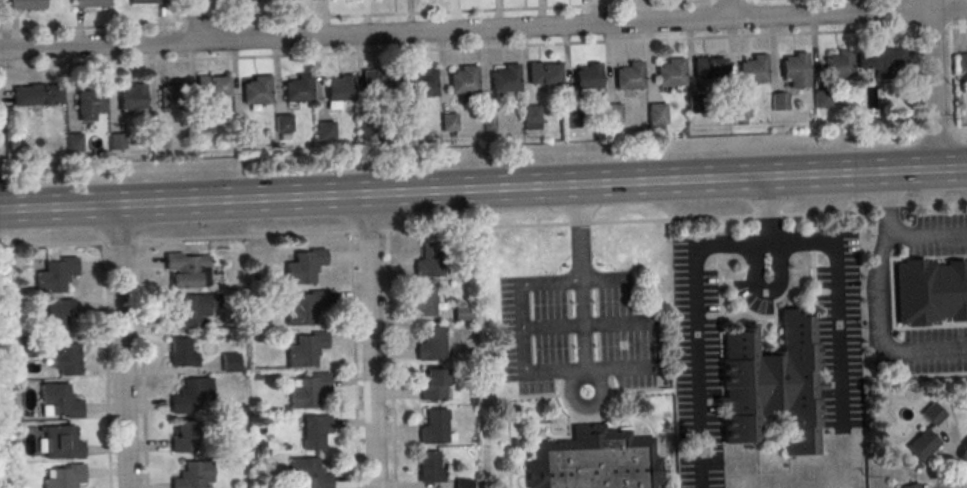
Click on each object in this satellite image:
building: (242, 0)
road: (711, 1)
building: (147, 2)
building: (92, 4)
building: (27, 5)
road: (730, 9)
road: (177, 12)
road: (355, 17)
road: (193, 21)
road: (483, 29)
road: (924, 29)
road: (473, 48)
building: (880, 62)
building: (961, 64)
building: (838, 66)
building: (708, 70)
building: (753, 72)
building: (795, 72)
building: (542, 75)
building: (670, 75)
building: (588, 78)
building: (629, 78)
building: (505, 81)
building: (377, 82)
building: (463, 82)
road: (932, 84)
building: (422, 85)
building: (211, 88)
building: (298, 91)
building: (339, 91)
building: (256, 92)
building: (174, 96)
building: (38, 97)
building: (133, 99)
building: (821, 100)
building: (91, 104)
building: (779, 104)
building: (697, 106)
building: (739, 110)
building: (614, 114)
building: (657, 115)
building: (531, 119)
building: (572, 121)
building: (202, 124)
building: (448, 124)
building: (283, 125)
building: (489, 125)
building: (366, 126)
building: (407, 127)
road: (950, 131)
building: (325, 132)
building: (243, 136)
building: (158, 141)
building: (75, 143)
building: (118, 143)
road: (483, 188)
road: (484, 228)
road: (926, 234)
building: (429, 262)
building: (304, 268)
building: (187, 272)
building: (57, 277)
road: (603, 280)
road: (766, 289)
building: (930, 294)
road: (838, 297)
road: (693, 298)
road: (880, 301)
building: (423, 302)
parking lot: (878, 309)
building: (304, 310)
building: (191, 312)
building: (462, 312)
building: (59, 315)
road: (584, 323)
road: (583, 325)
road: (516, 335)
road: (371, 340)
road: (122, 346)
building: (432, 346)
building: (305, 351)
building: (181, 354)
parking lot: (697, 358)
road: (353, 360)
road: (390, 360)
building: (67, 361)
building: (230, 363)
road: (141, 365)
road: (106, 366)
road: (626, 367)
building: (770, 386)
building: (433, 387)
building: (308, 392)
building: (191, 397)
building: (61, 402)
building: (933, 415)
building: (434, 429)
building: (314, 433)
building: (184, 440)
building: (61, 445)
building: (922, 446)
building: (595, 461)
road: (945, 463)
building: (429, 470)
building: (308, 474)
building: (194, 476)
building: (66, 477)
building: (462, 484)
building: (912, 487)

